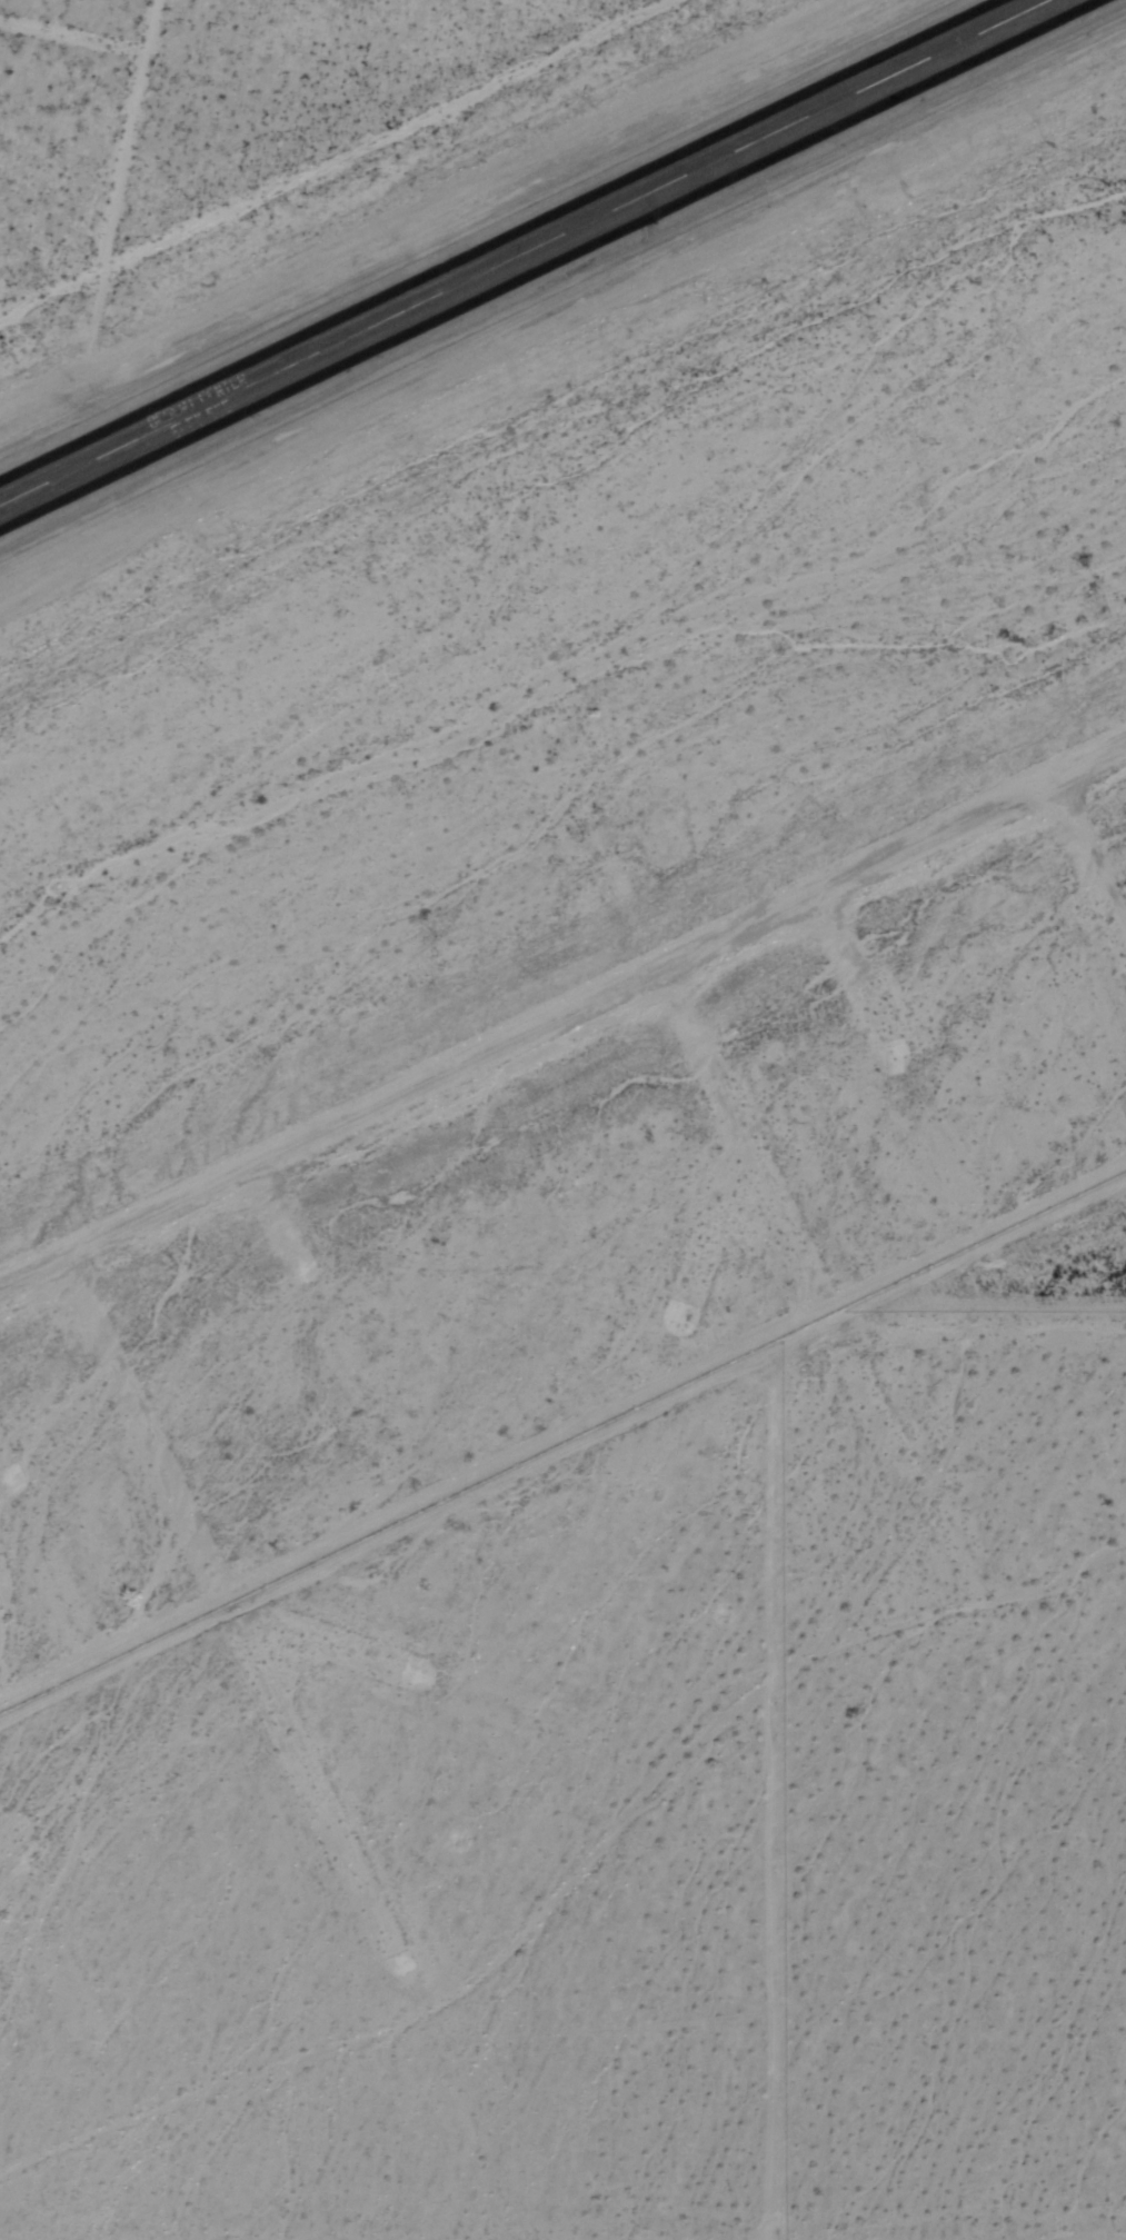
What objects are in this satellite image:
airport runway: (521, 251)
airport: (501, 279)
crop: (627, 1828)

